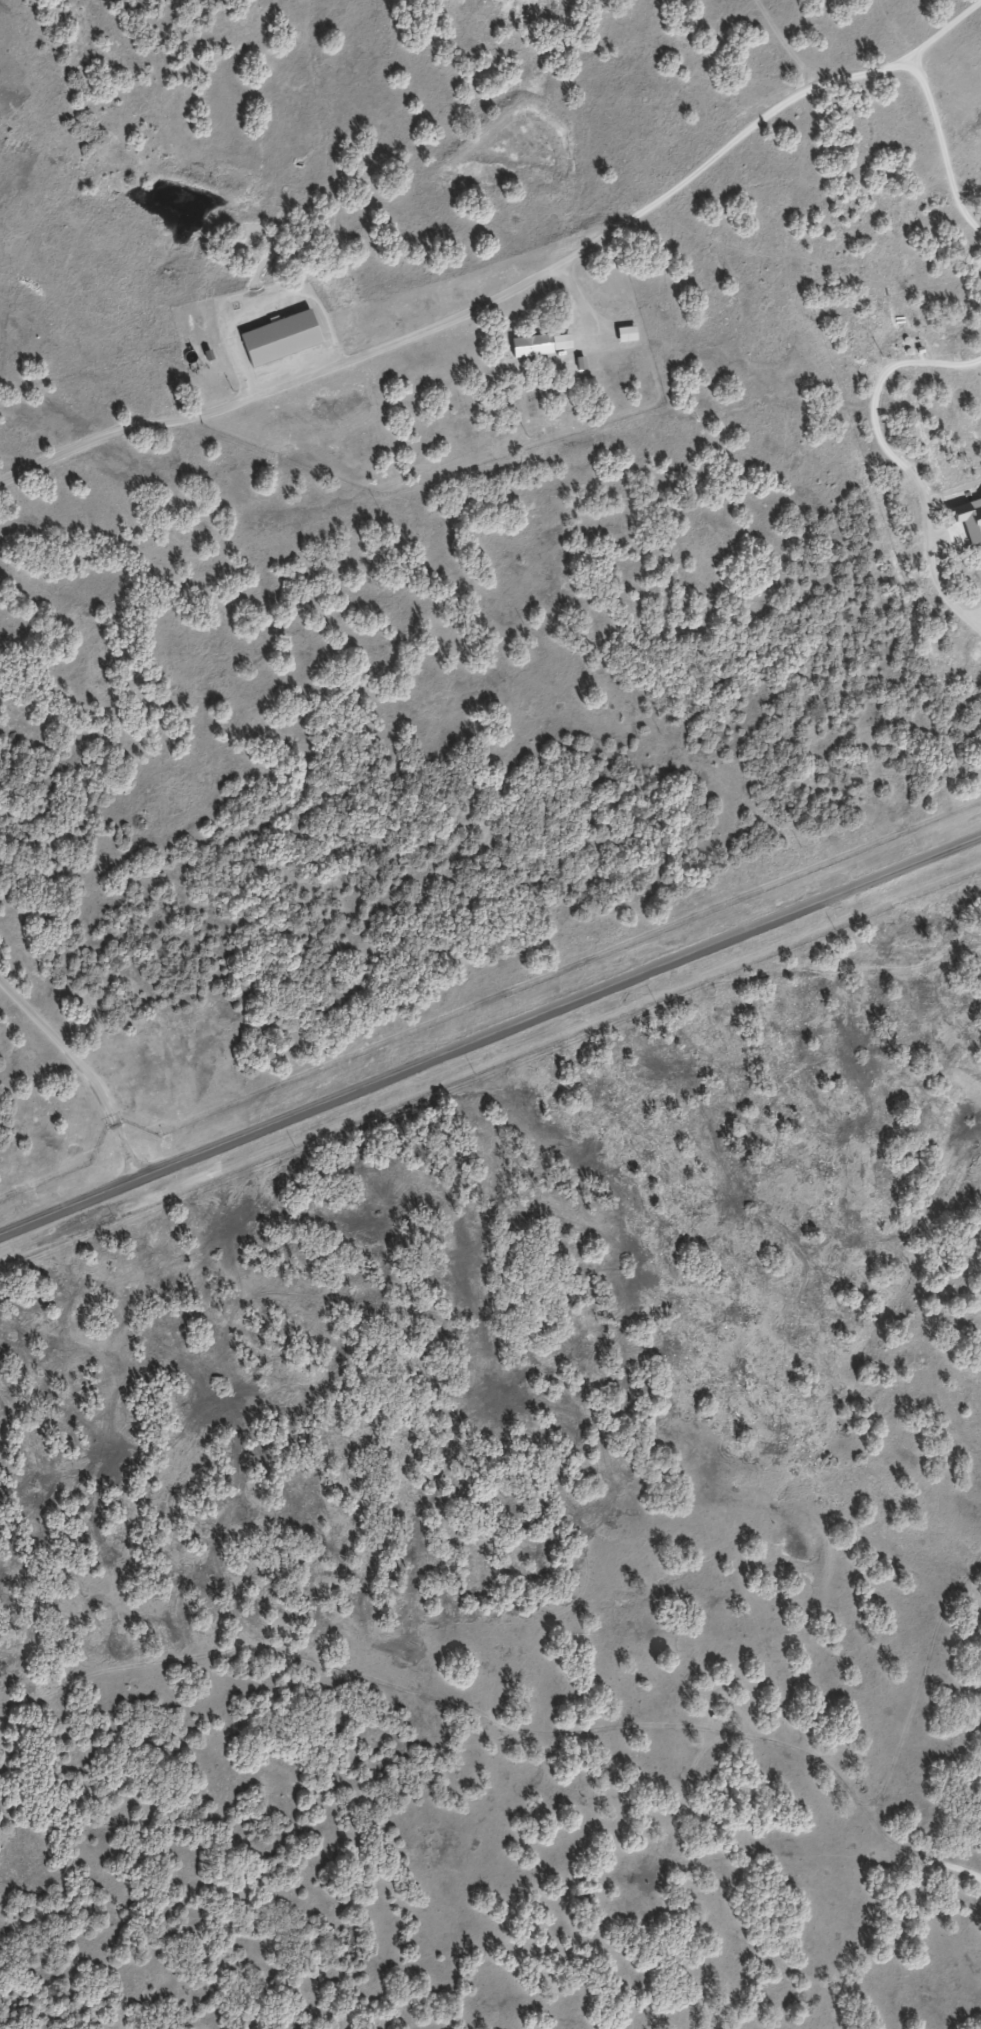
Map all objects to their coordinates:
road: (511, 280)
building: (625, 334)
building: (279, 339)
building: (540, 344)
road: (490, 1042)
road: (90, 1062)

